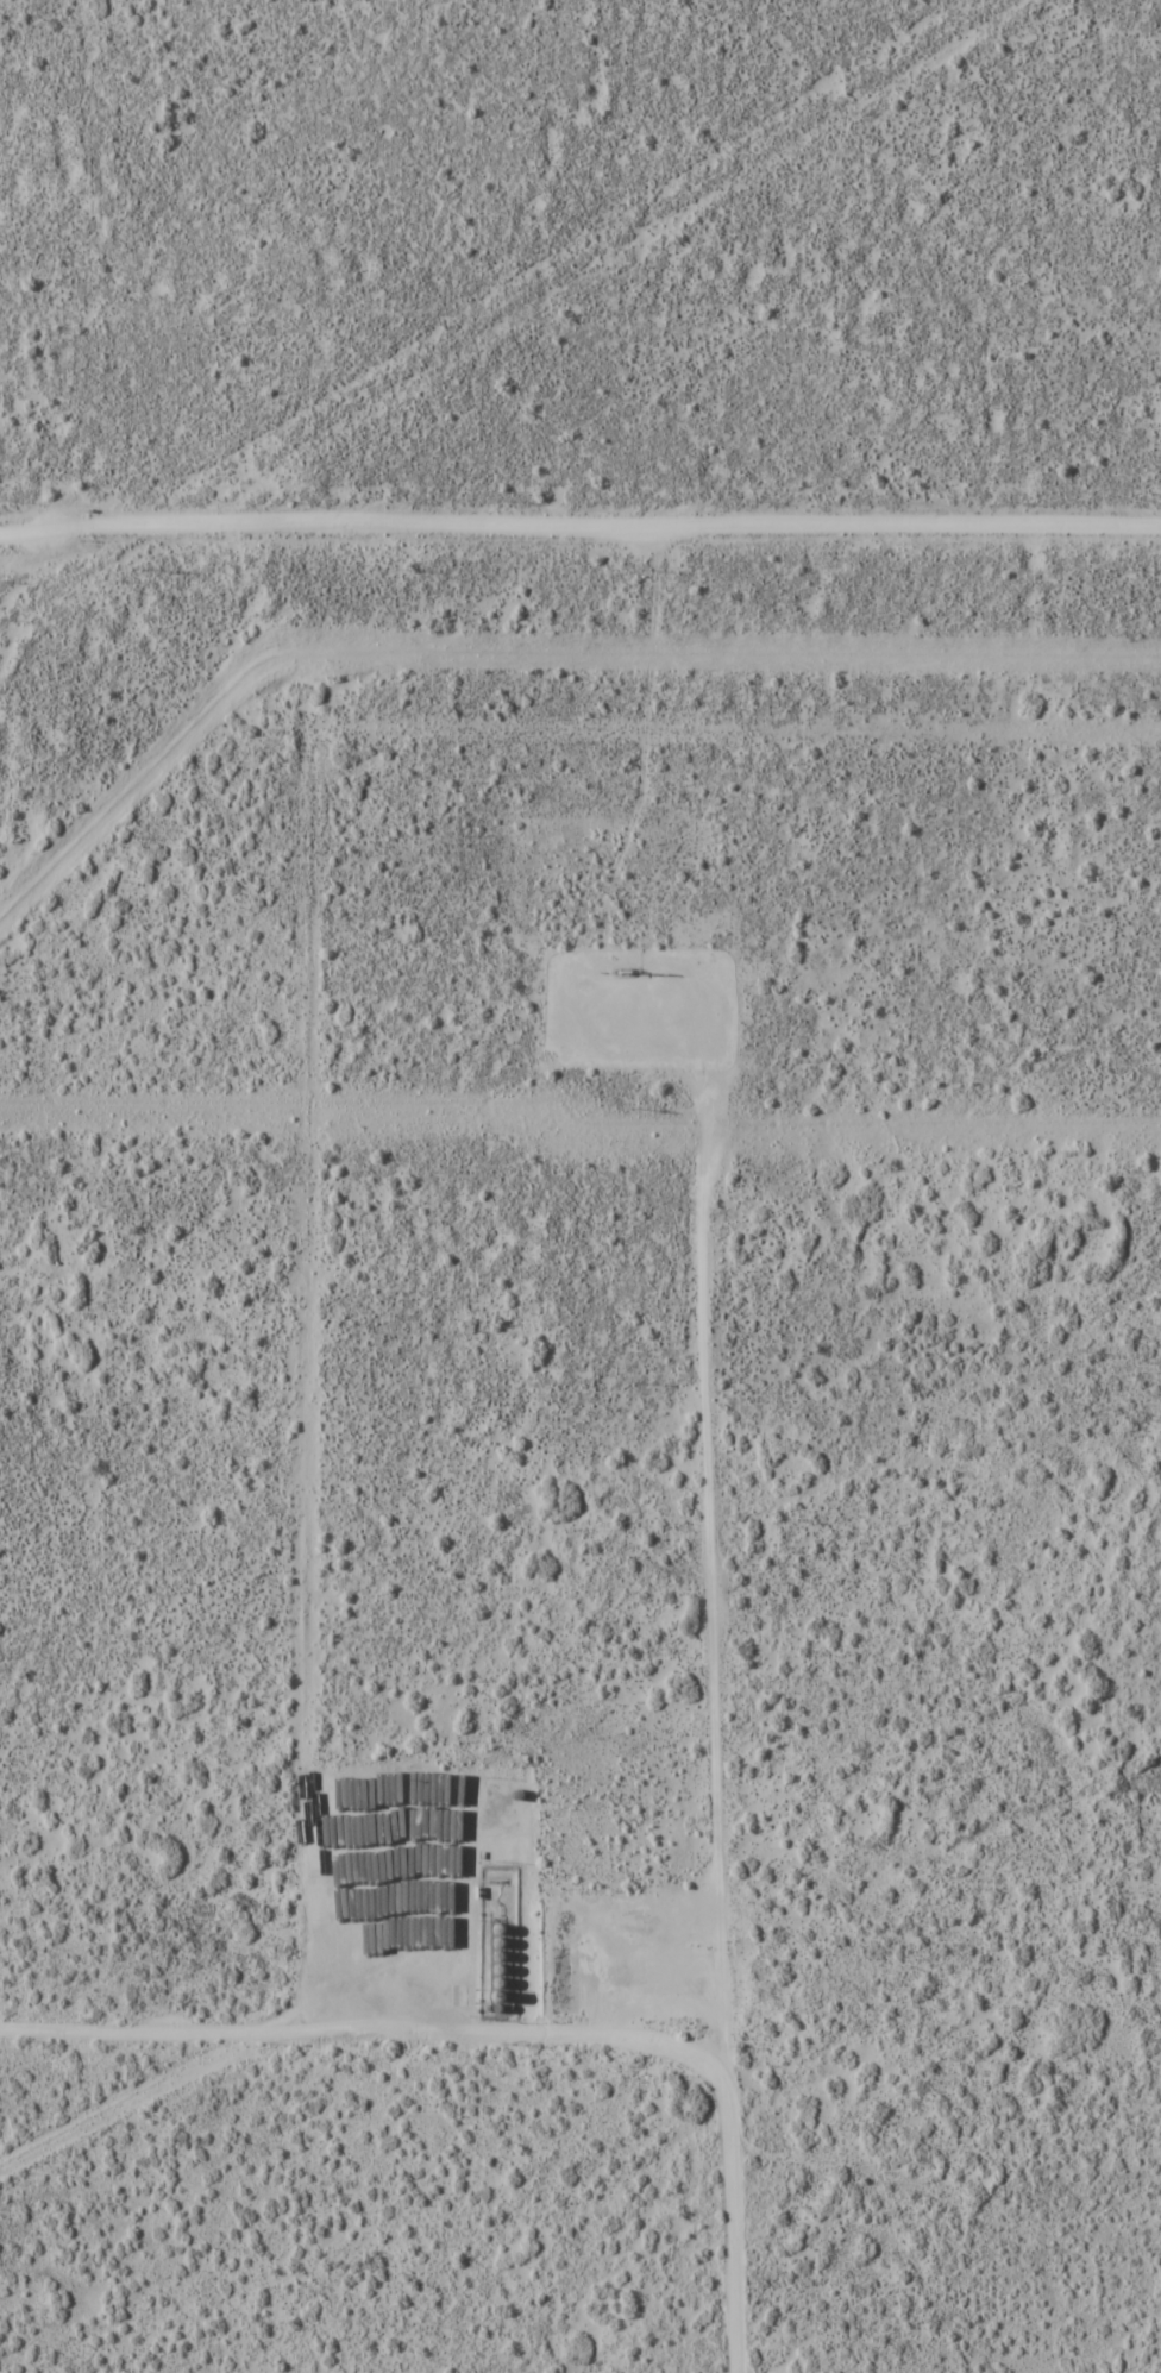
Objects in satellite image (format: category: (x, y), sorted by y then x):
road: (580, 531)
petroleum well: (625, 968)
road: (736, 1687)
building: (371, 1790)
building: (325, 1903)
road: (382, 2019)

